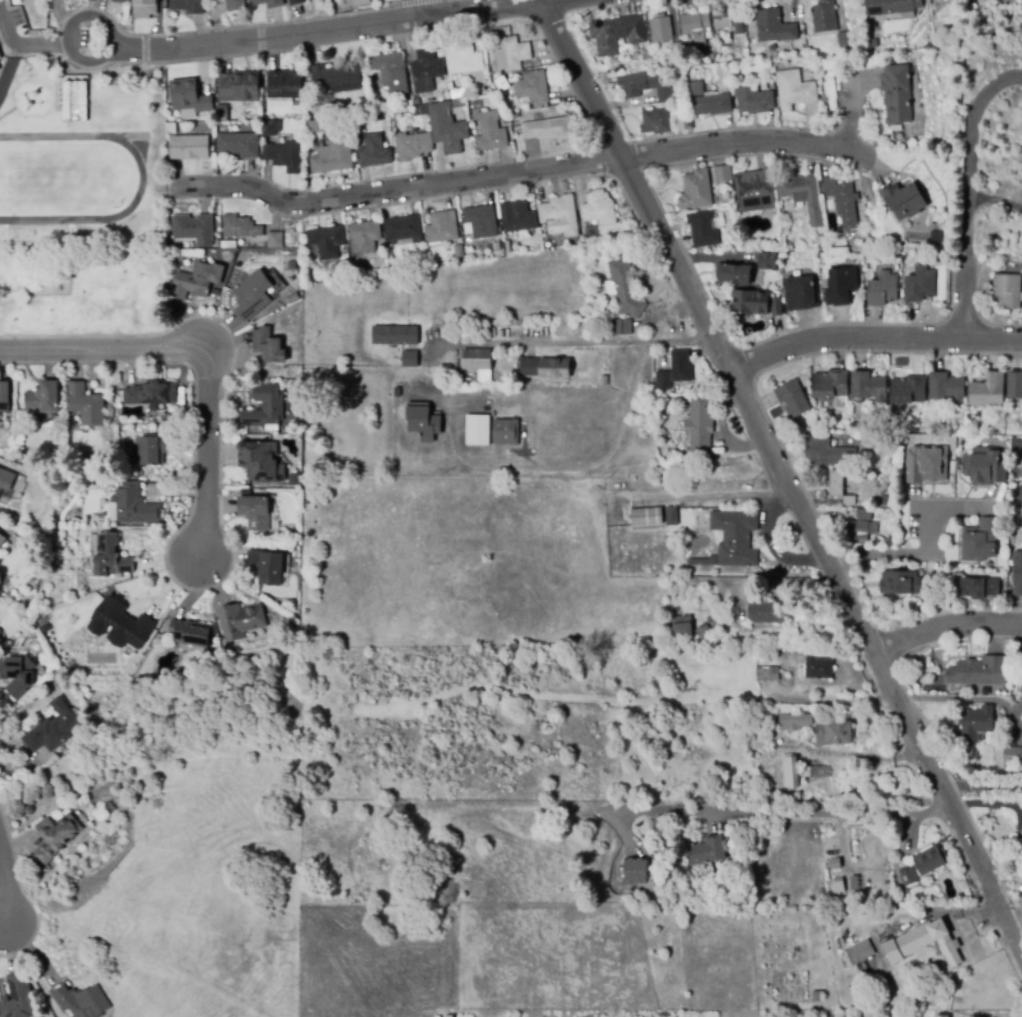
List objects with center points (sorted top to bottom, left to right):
building: (120, 1)
building: (956, 1)
building: (296, 2)
building: (336, 2)
road: (412, 2)
road: (554, 2)
building: (267, 3)
building: (187, 6)
building: (235, 6)
building: (890, 6)
road: (423, 7)
building: (144, 9)
road: (484, 10)
building: (721, 11)
building: (824, 17)
building: (695, 26)
road: (230, 27)
building: (738, 27)
building: (774, 27)
building: (661, 29)
building: (617, 33)
road: (268, 36)
road: (260, 38)
building: (845, 39)
road: (25, 43)
building: (751, 44)
road: (145, 49)
building: (674, 51)
building: (514, 53)
road: (105, 55)
building: (710, 57)
building: (463, 58)
building: (777, 59)
building: (678, 63)
building: (738, 66)
road: (124, 68)
building: (426, 70)
building: (391, 74)
building: (336, 79)
building: (284, 85)
building: (308, 86)
building: (645, 86)
building: (239, 87)
building: (533, 88)
building: (697, 89)
building: (794, 89)
building: (456, 94)
building: (897, 95)
building: (189, 97)
building: (754, 101)
building: (74, 102)
building: (508, 102)
building: (407, 104)
building: (458, 104)
building: (712, 105)
building: (222, 113)
building: (421, 114)
building: (515, 114)
building: (505, 120)
building: (656, 122)
building: (688, 122)
building: (278, 127)
building: (268, 128)
building: (314, 128)
building: (170, 129)
building: (447, 129)
building: (547, 129)
building: (491, 136)
building: (238, 145)
building: (412, 146)
building: (189, 147)
building: (374, 152)
building: (285, 154)
building: (333, 157)
road: (520, 171)
building: (722, 174)
road: (141, 179)
building: (696, 190)
building: (755, 190)
road: (969, 193)
building: (803, 195)
building: (841, 196)
road: (996, 199)
building: (904, 200)
building: (731, 203)
building: (599, 208)
building: (560, 216)
building: (519, 217)
building: (481, 221)
building: (240, 227)
building: (194, 229)
building: (403, 229)
building: (440, 229)
building: (702, 230)
building: (934, 235)
building: (857, 236)
building: (364, 237)
building: (275, 240)
building: (327, 241)
building: (169, 243)
building: (230, 245)
building: (781, 245)
building: (187, 246)
building: (507, 246)
building: (496, 248)
building: (458, 251)
building: (764, 259)
building: (250, 273)
building: (733, 274)
building: (197, 281)
building: (755, 281)
building: (824, 284)
building: (920, 285)
building: (841, 286)
building: (625, 289)
building: (882, 290)
building: (1007, 291)
building: (215, 292)
park: (80, 293)
building: (801, 294)
building: (252, 295)
building: (293, 298)
building: (750, 303)
building: (776, 307)
building: (462, 322)
building: (620, 327)
building: (394, 334)
road: (873, 339)
road: (583, 341)
building: (268, 346)
road: (38, 349)
building: (410, 358)
building: (476, 359)
building: (681, 366)
building: (545, 368)
building: (646, 377)
building: (604, 381)
building: (663, 381)
building: (830, 384)
road: (209, 385)
building: (1015, 385)
building: (868, 387)
building: (946, 388)
building: (909, 391)
building: (987, 391)
building: (397, 392)
building: (151, 393)
building: (181, 393)
building: (4, 397)
building: (43, 398)
building: (793, 398)
building: (85, 404)
building: (265, 407)
building: (647, 409)
building: (423, 422)
building: (699, 426)
building: (272, 429)
building: (645, 431)
building: (478, 432)
building: (506, 432)
building: (1016, 446)
building: (152, 450)
building: (828, 453)
building: (20, 457)
building: (260, 461)
building: (927, 463)
building: (5, 464)
building: (984, 466)
road: (571, 467)
road: (783, 473)
building: (6, 480)
building: (294, 480)
building: (839, 488)
building: (1019, 494)
building: (134, 505)
building: (255, 513)
building: (673, 515)
building: (863, 515)
building: (647, 516)
building: (692, 518)
building: (854, 531)
building: (736, 538)
road: (925, 540)
building: (981, 540)
building: (2, 541)
road: (844, 551)
building: (110, 557)
building: (703, 562)
road: (851, 564)
building: (267, 567)
building: (1017, 574)
building: (900, 583)
building: (980, 587)
building: (767, 612)
building: (241, 621)
building: (717, 621)
building: (120, 624)
road: (945, 626)
building: (682, 627)
building: (0, 632)
building: (703, 632)
building: (190, 634)
building: (0, 640)
building: (821, 668)
building: (979, 672)
building: (771, 674)
building: (18, 675)
building: (795, 721)
building: (976, 723)
building: (53, 729)
building: (833, 733)
building: (1012, 755)
building: (814, 771)
building: (790, 772)
building: (110, 808)
road: (788, 814)
building: (652, 825)
building: (56, 837)
building: (1019, 846)
building: (706, 851)
building: (930, 860)
building: (835, 863)
building: (635, 871)
building: (908, 877)
road: (5, 881)
building: (854, 883)
building: (838, 886)
building: (477, 894)
building: (923, 944)
building: (860, 951)
building: (18, 998)
building: (81, 1000)
building: (980, 1014)
building: (832, 1016)
building: (941, 1016)

